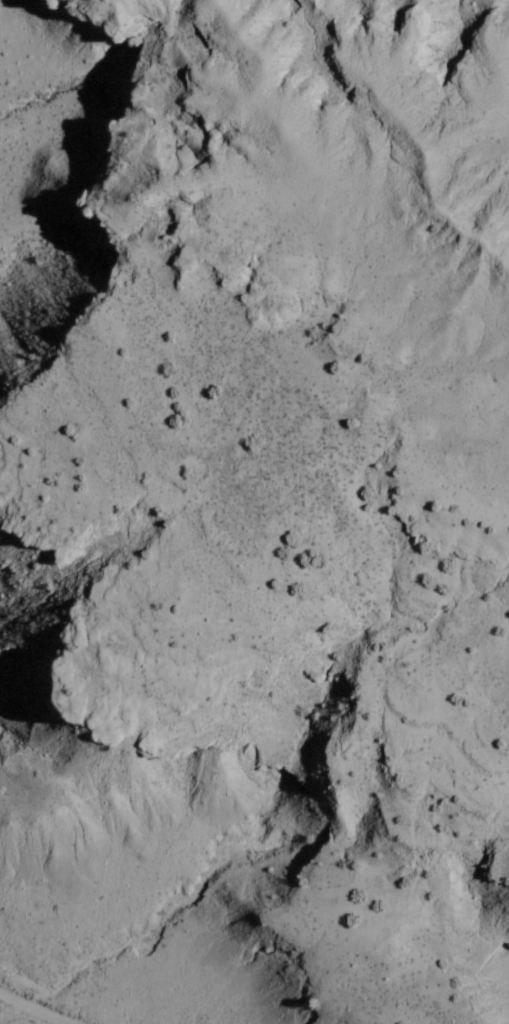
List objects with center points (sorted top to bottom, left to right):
road: (28, 1011)

